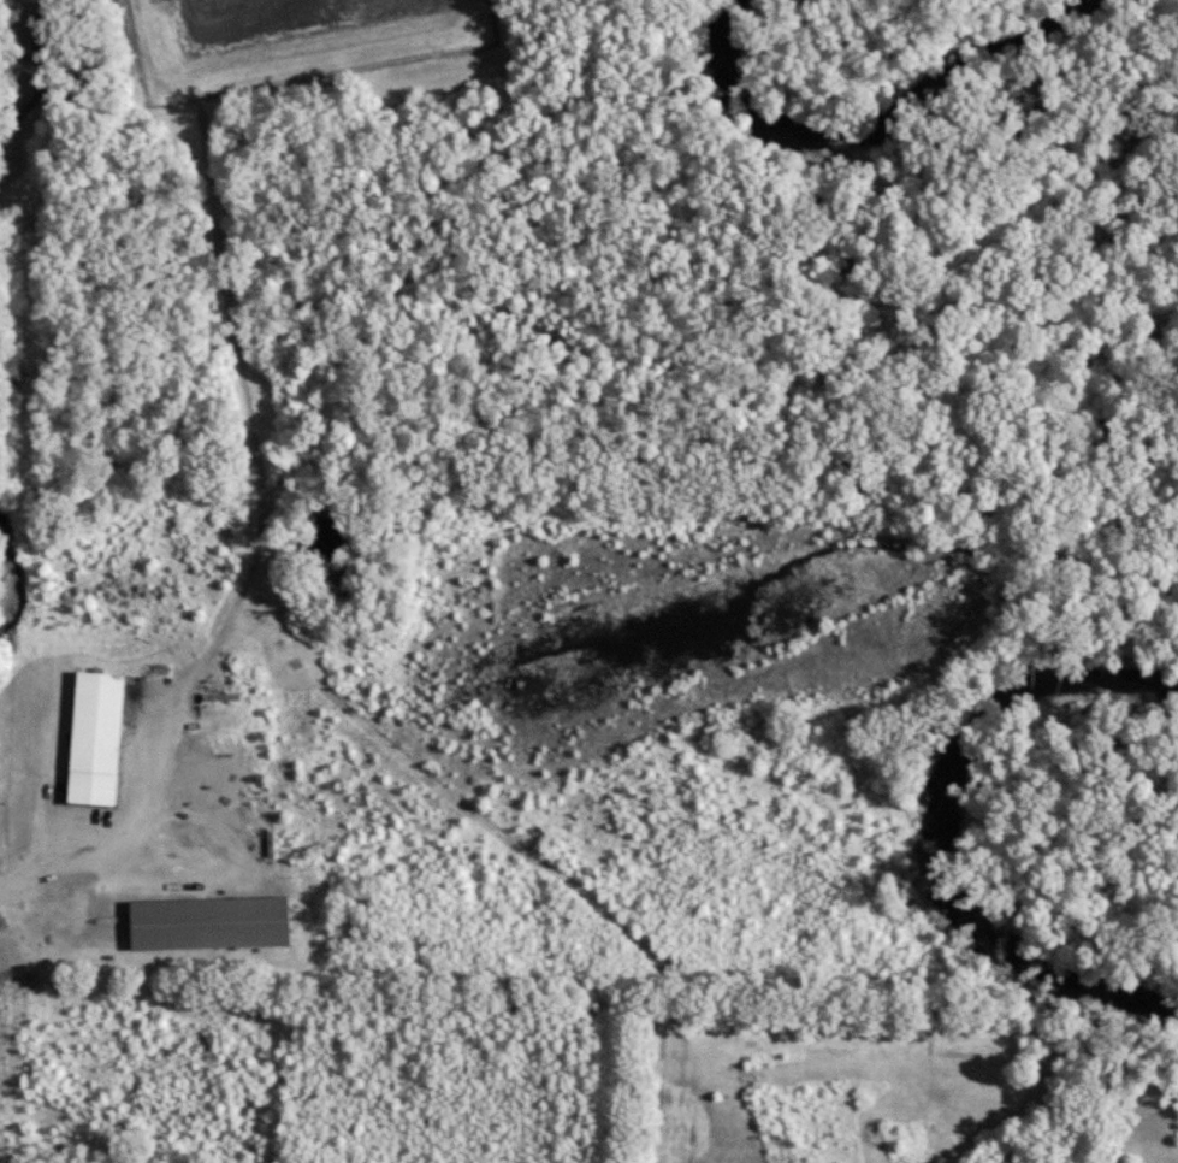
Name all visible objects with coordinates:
building: (90, 740)
road: (114, 839)
building: (203, 923)
park: (894, 1084)

